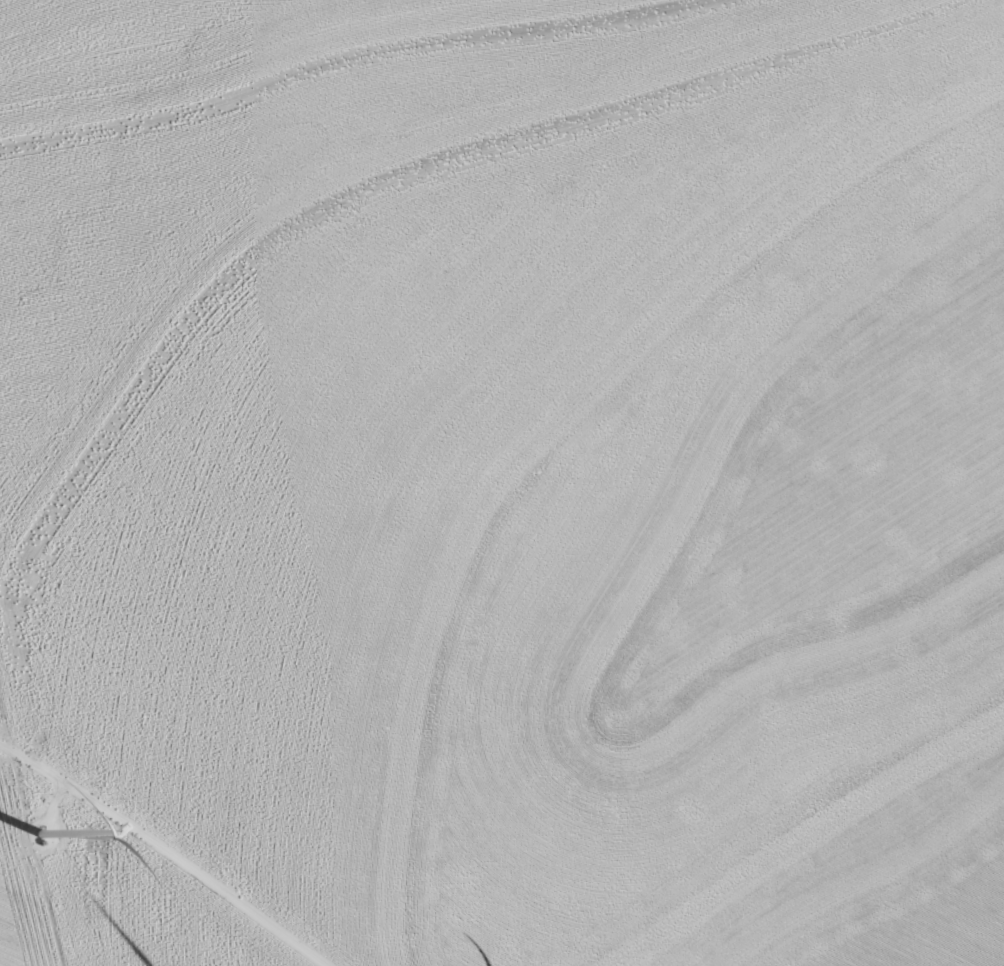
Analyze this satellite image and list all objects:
wind turbine: (44, 806)

